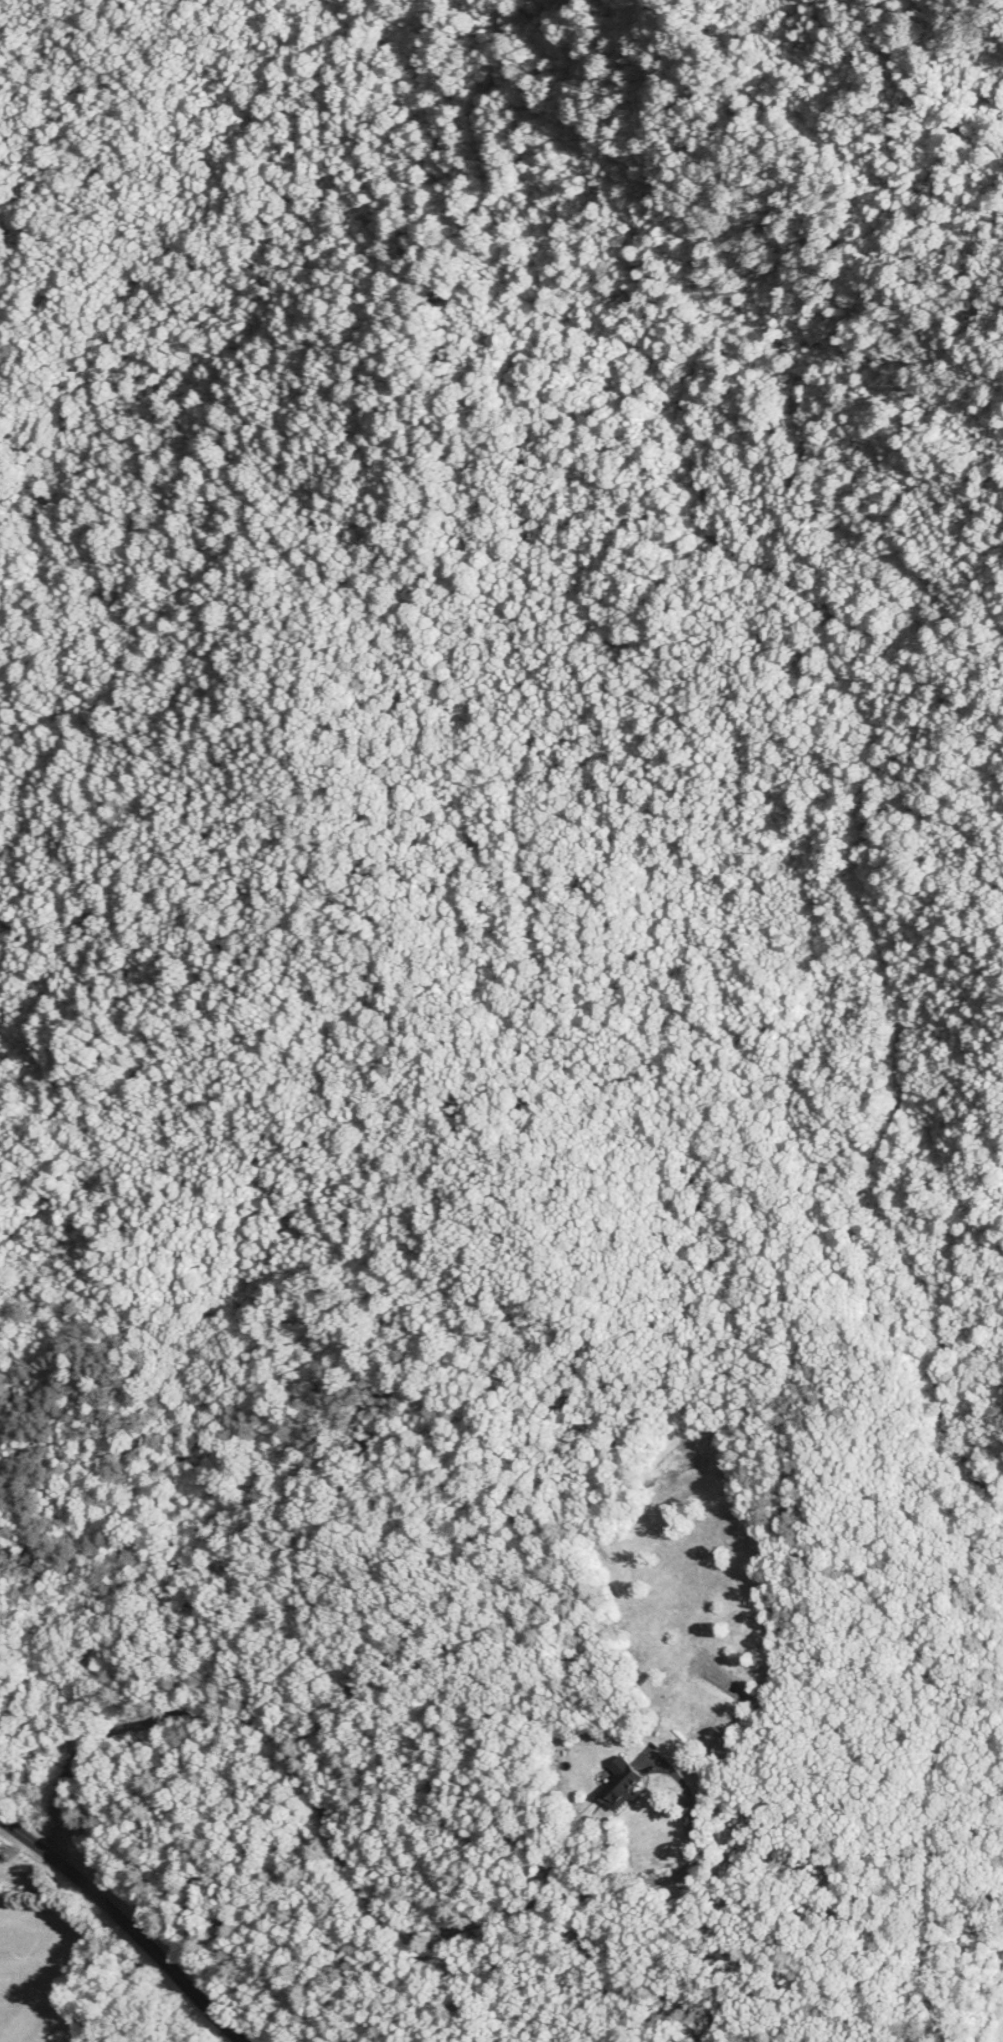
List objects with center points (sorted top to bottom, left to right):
building: (617, 1781)
road: (126, 1925)

